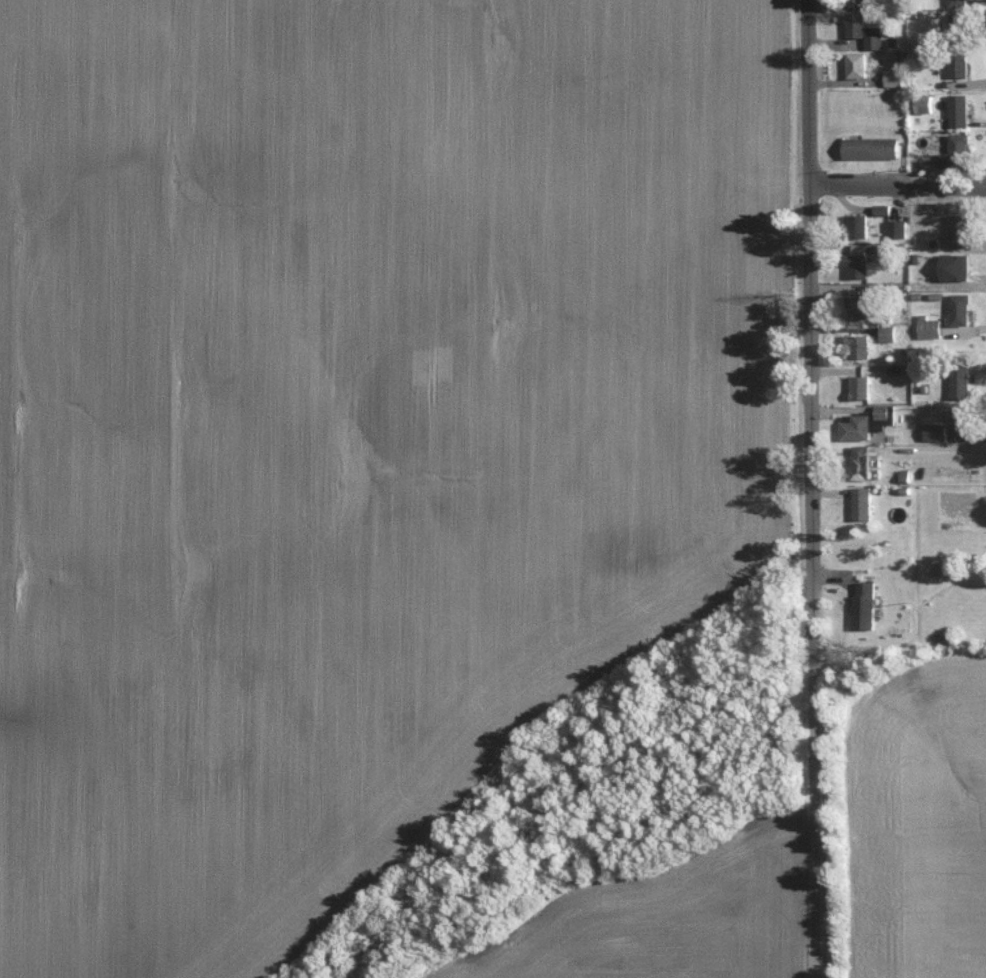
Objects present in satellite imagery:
building: (960, 2)
building: (858, 3)
building: (960, 23)
building: (866, 30)
building: (859, 64)
building: (961, 66)
building: (895, 77)
building: (927, 104)
building: (960, 110)
building: (873, 147)
building: (959, 152)
road: (897, 185)
building: (883, 208)
building: (861, 223)
building: (899, 228)
building: (962, 230)
building: (860, 260)
building: (957, 265)
building: (859, 305)
building: (962, 308)
building: (930, 326)
building: (889, 332)
building: (861, 344)
building: (962, 381)
building: (862, 386)
building: (963, 418)
building: (870, 421)
building: (937, 430)
building: (863, 460)
road: (812, 488)
building: (864, 502)
building: (945, 567)
building: (867, 604)

